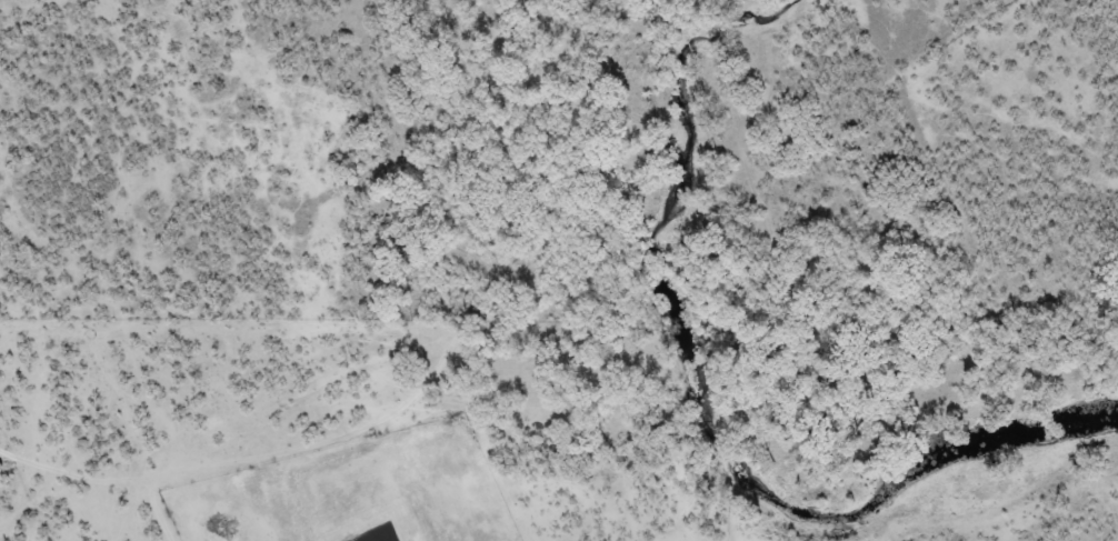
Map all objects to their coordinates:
airport: (352, 491)
airport runway: (379, 539)

